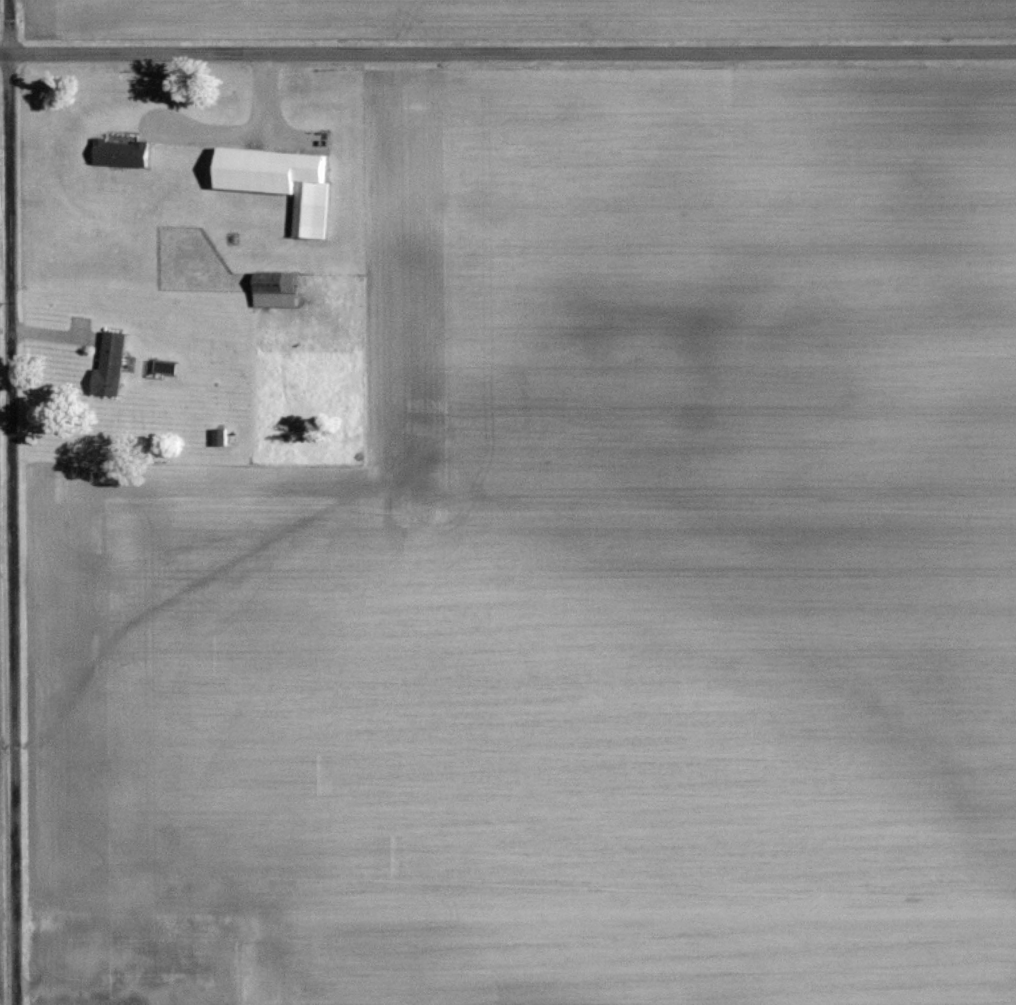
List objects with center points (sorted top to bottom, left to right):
road: (8, 46)
road: (516, 46)
building: (121, 152)
building: (280, 182)
building: (275, 289)
building: (110, 364)
building: (219, 438)
road: (20, 502)
building: (103, 956)
building: (191, 988)

